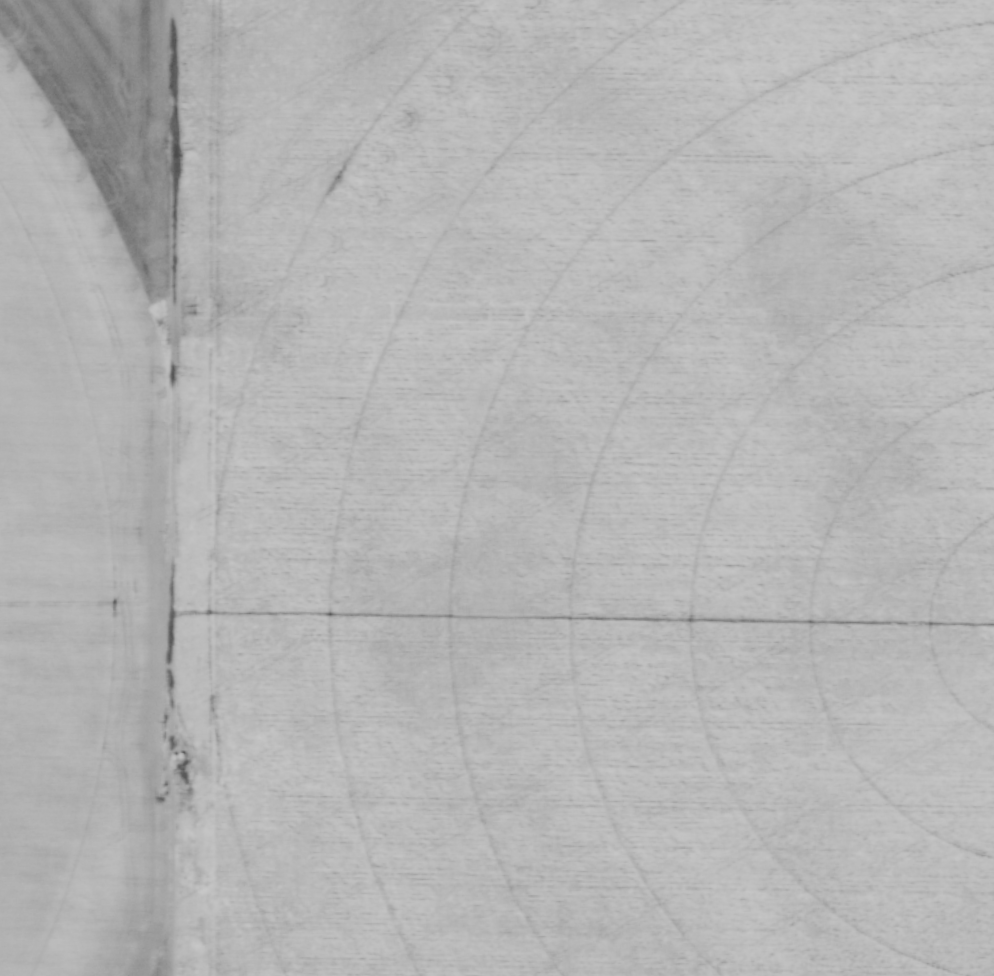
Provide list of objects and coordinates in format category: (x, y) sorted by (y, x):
crop: (497, 487)

